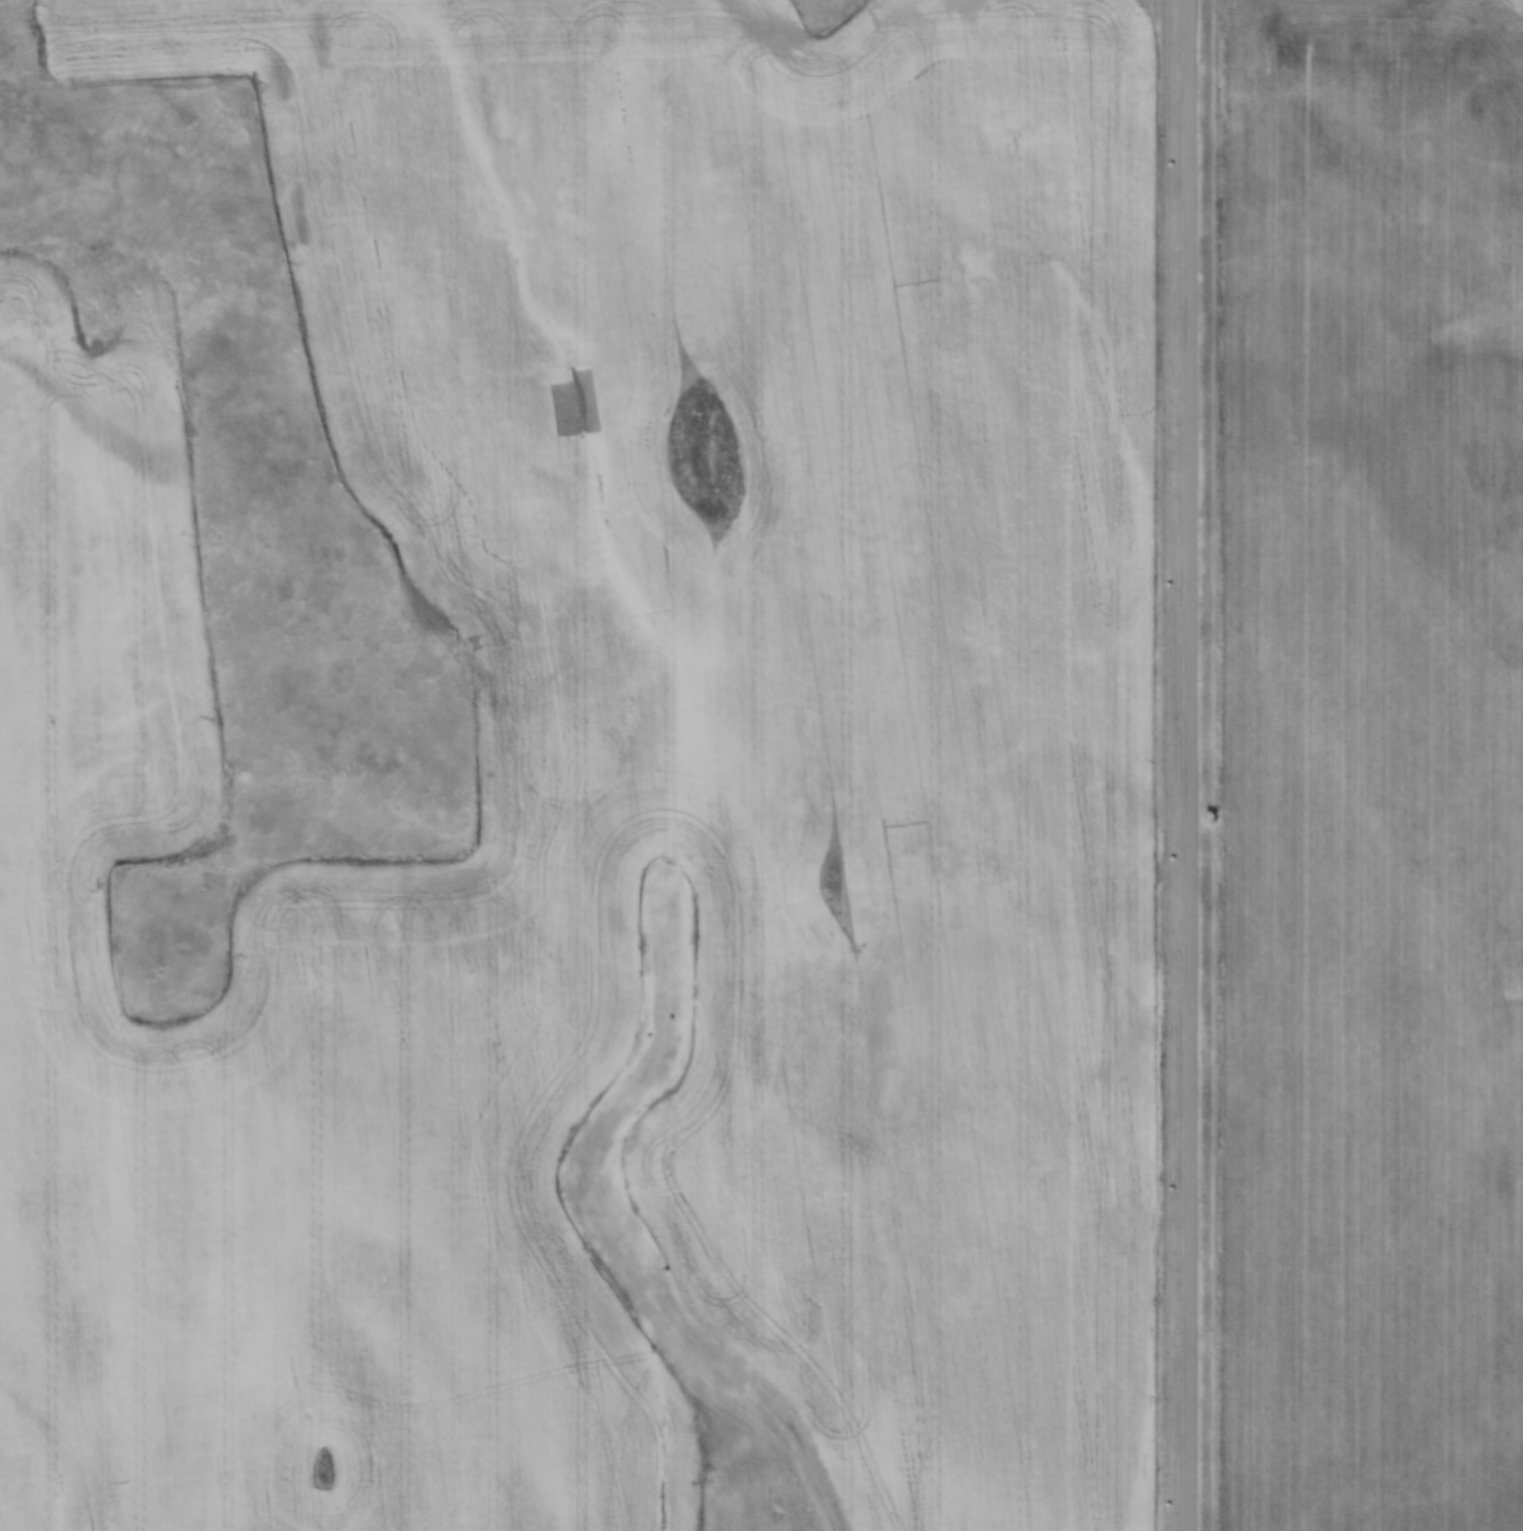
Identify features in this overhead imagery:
road: (1197, 765)

